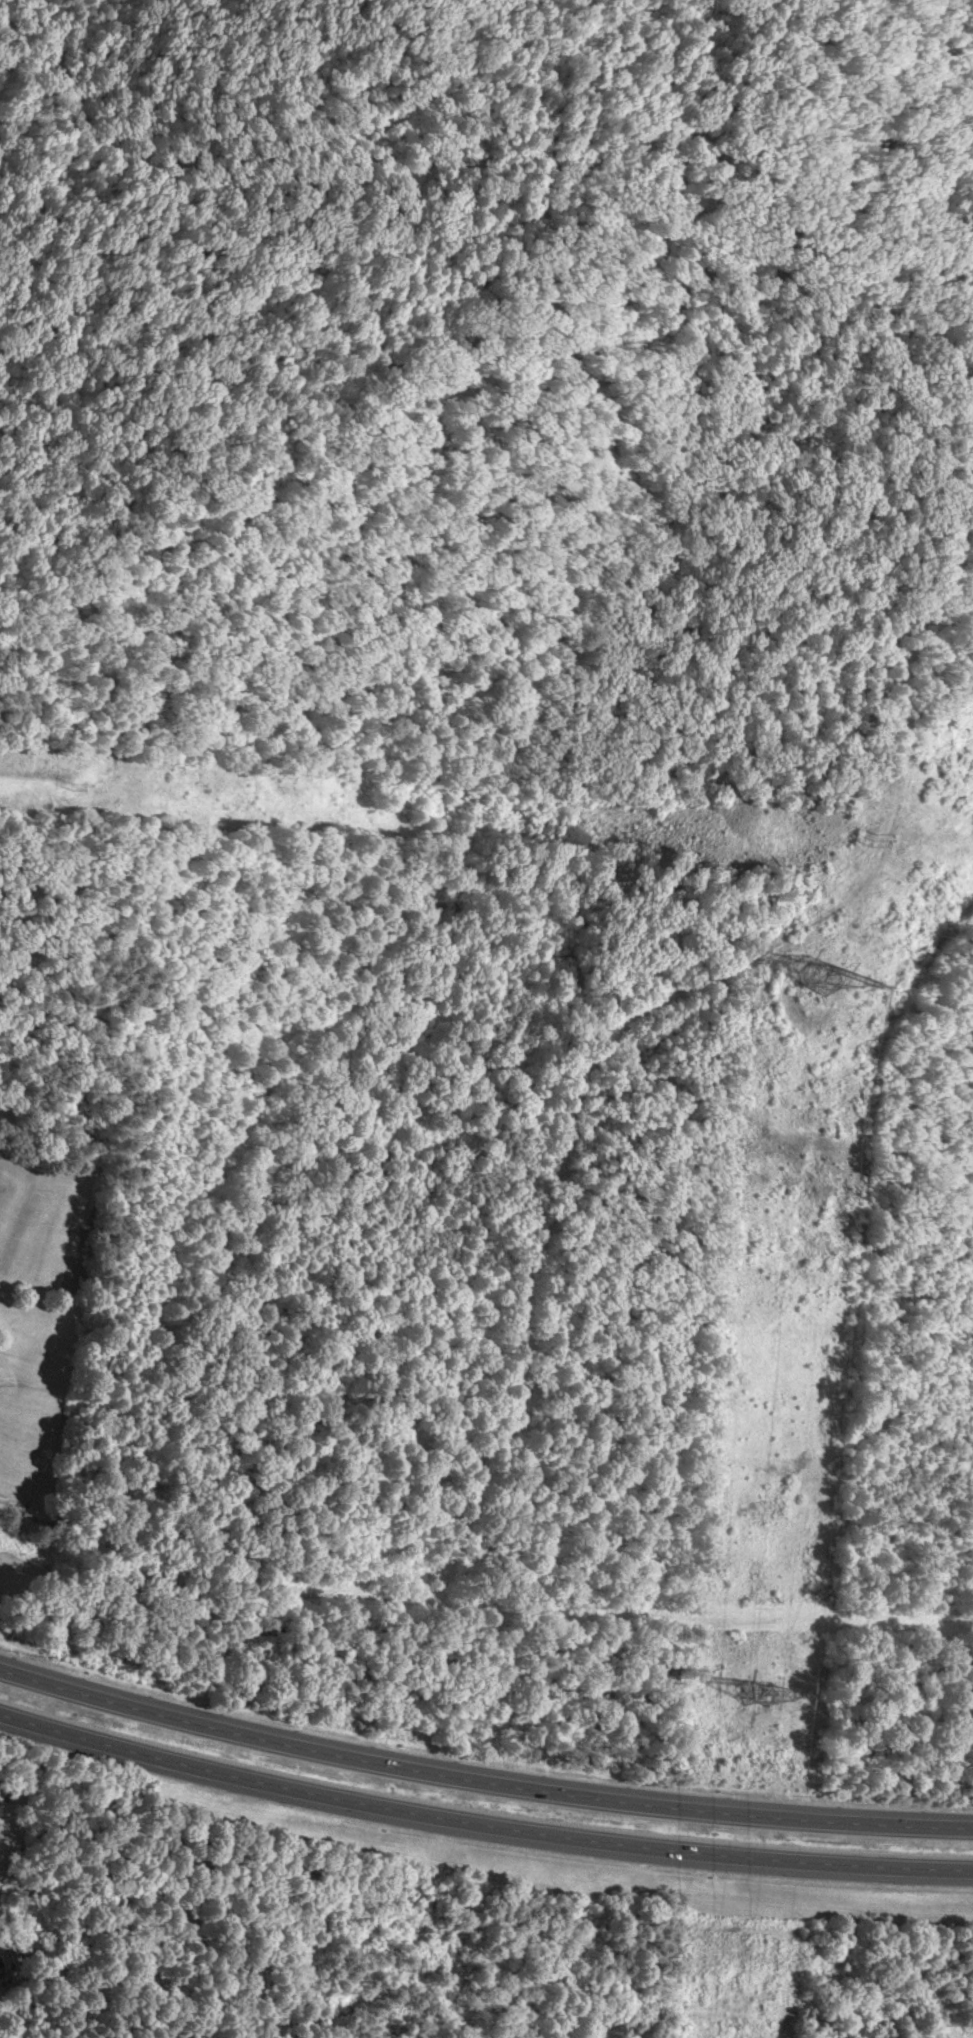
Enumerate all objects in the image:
power tower: (809, 971)
road: (563, 1150)
power tower: (758, 1696)
road: (480, 1783)
road: (481, 1829)

